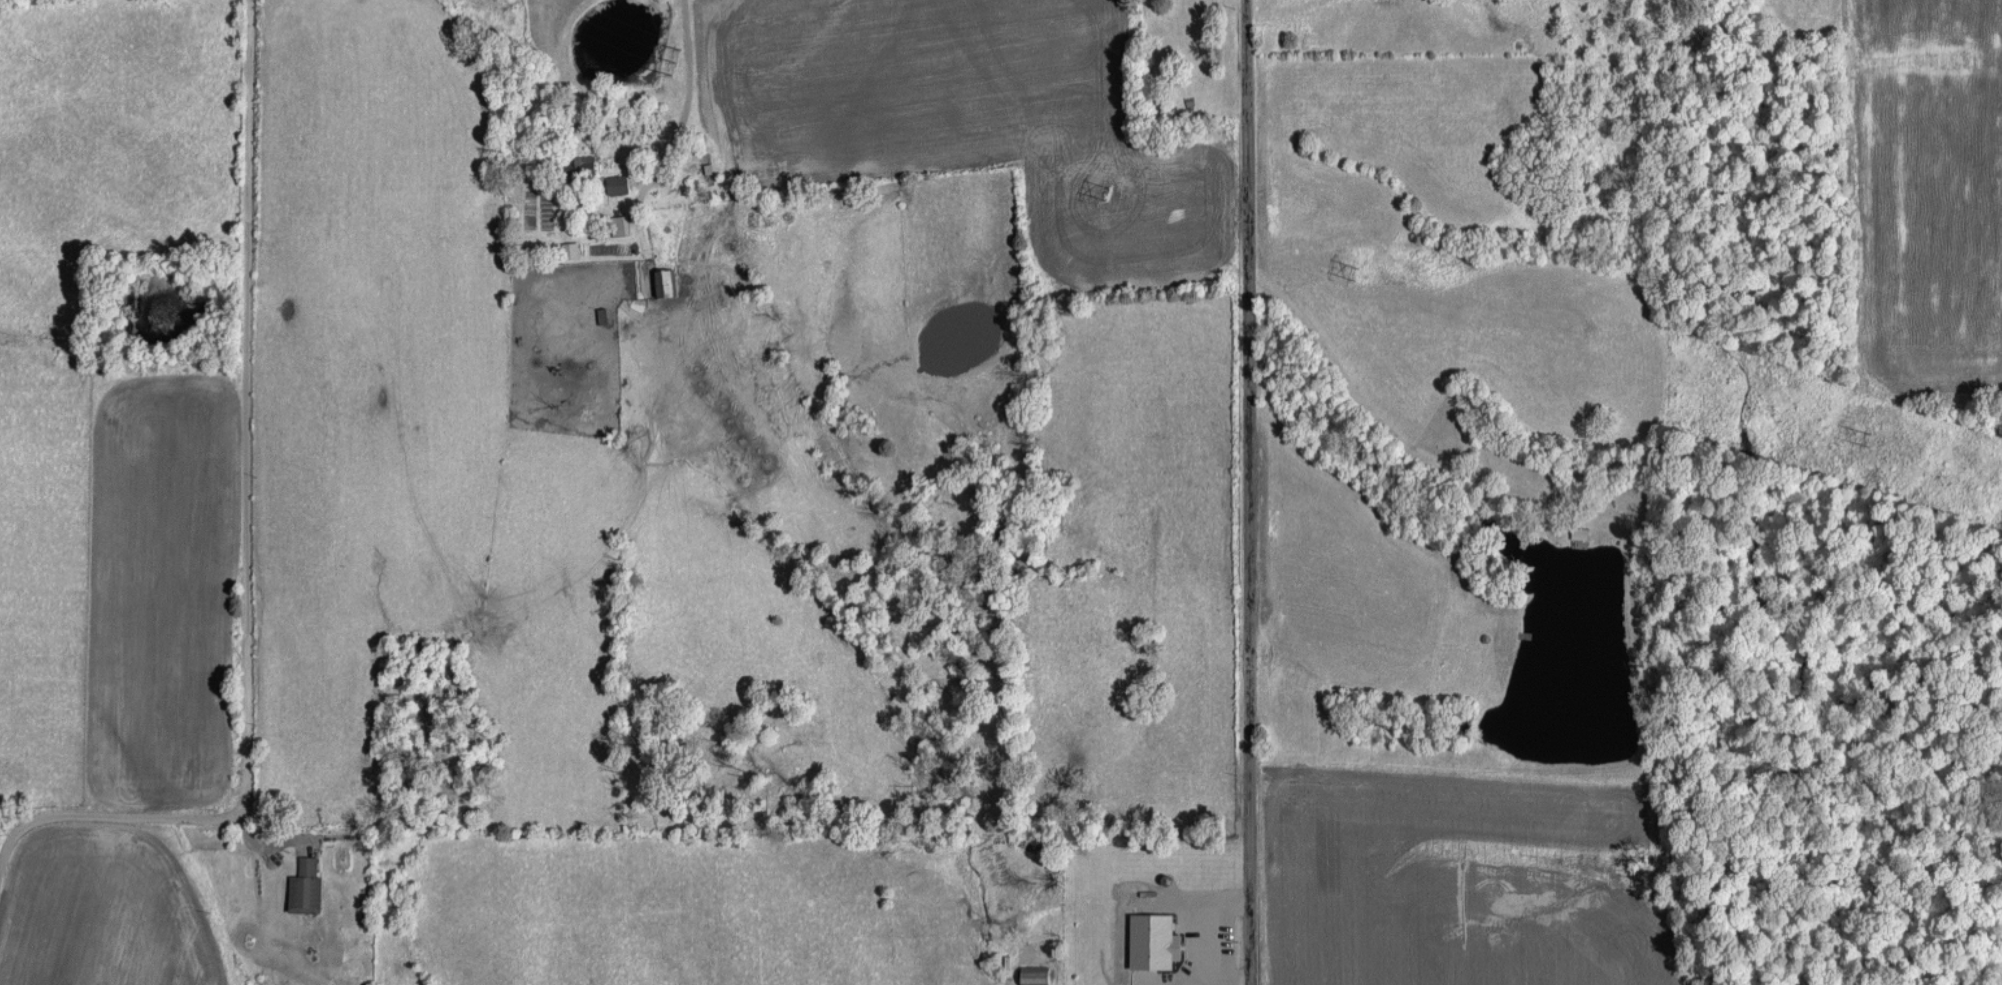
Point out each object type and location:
power tower: (676, 60)
road: (688, 78)
building: (618, 183)
power tower: (1107, 190)
building: (621, 224)
building: (571, 249)
power tower: (1352, 273)
building: (666, 281)
power tower: (1872, 439)
road: (1247, 492)
road: (244, 538)
building: (306, 886)
building: (1035, 975)

